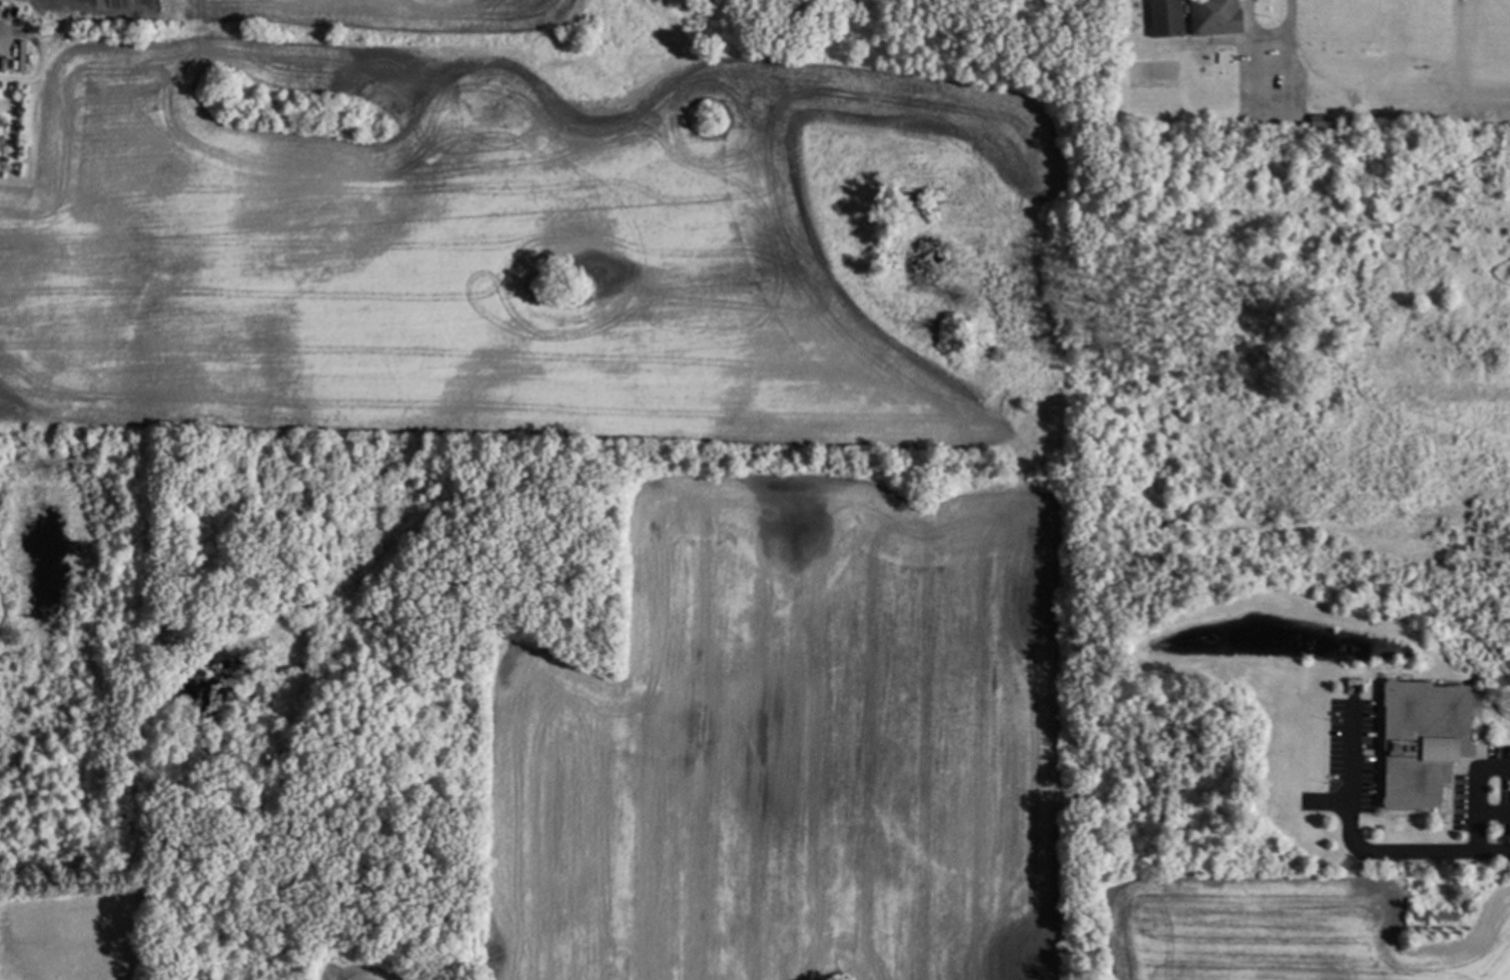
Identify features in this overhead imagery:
building: (1217, 16)
building: (1168, 17)
road: (1289, 18)
park: (1386, 26)
park: (1498, 32)
park: (1154, 75)
parking lot: (1264, 86)
building: (1328, 122)
crop: (647, 483)
building: (1425, 739)
road: (1476, 797)
road: (1392, 855)
building: (1439, 915)
crop: (73, 929)

